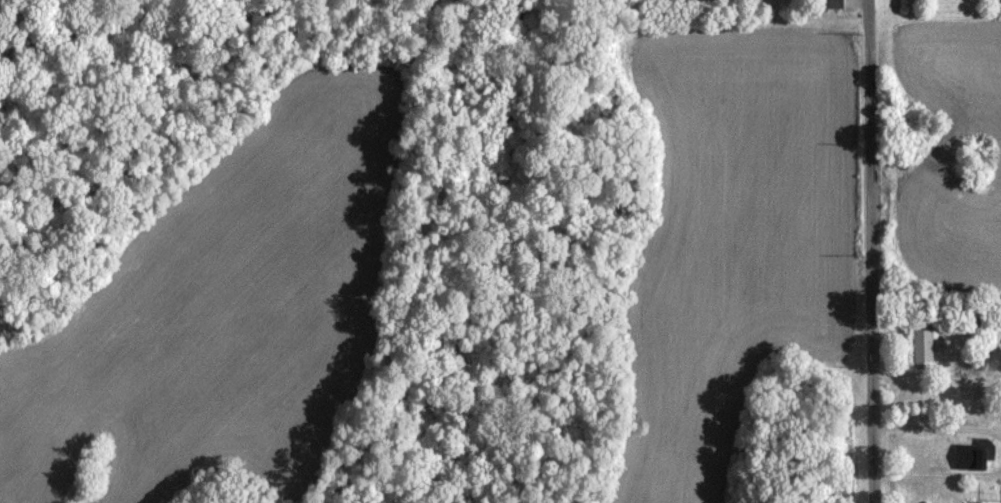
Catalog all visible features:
road: (869, 5)
road: (872, 257)
building: (925, 344)
road: (938, 425)
building: (971, 455)
road: (938, 473)

